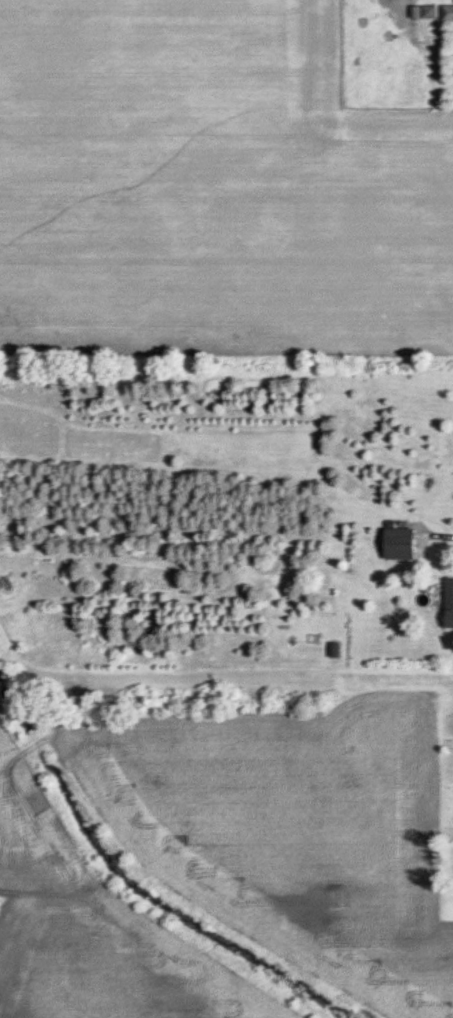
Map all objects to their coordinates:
building: (421, 11)
building: (446, 12)
building: (397, 543)
building: (447, 603)

